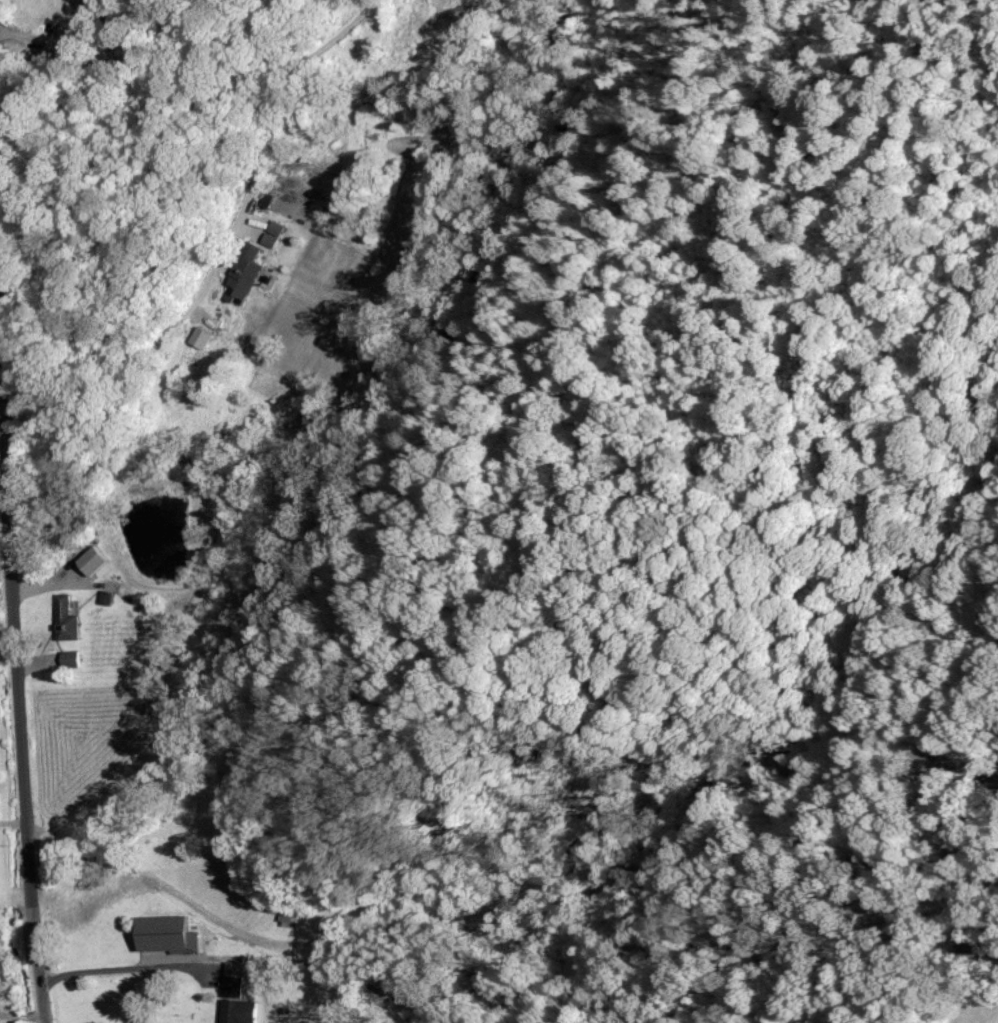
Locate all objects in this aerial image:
road: (1, 78)
building: (244, 272)
road: (211, 281)
building: (200, 337)
road: (10, 527)
building: (89, 559)
building: (63, 618)
road: (7, 622)
building: (67, 657)
road: (17, 819)
road: (145, 968)
road: (23, 1013)

